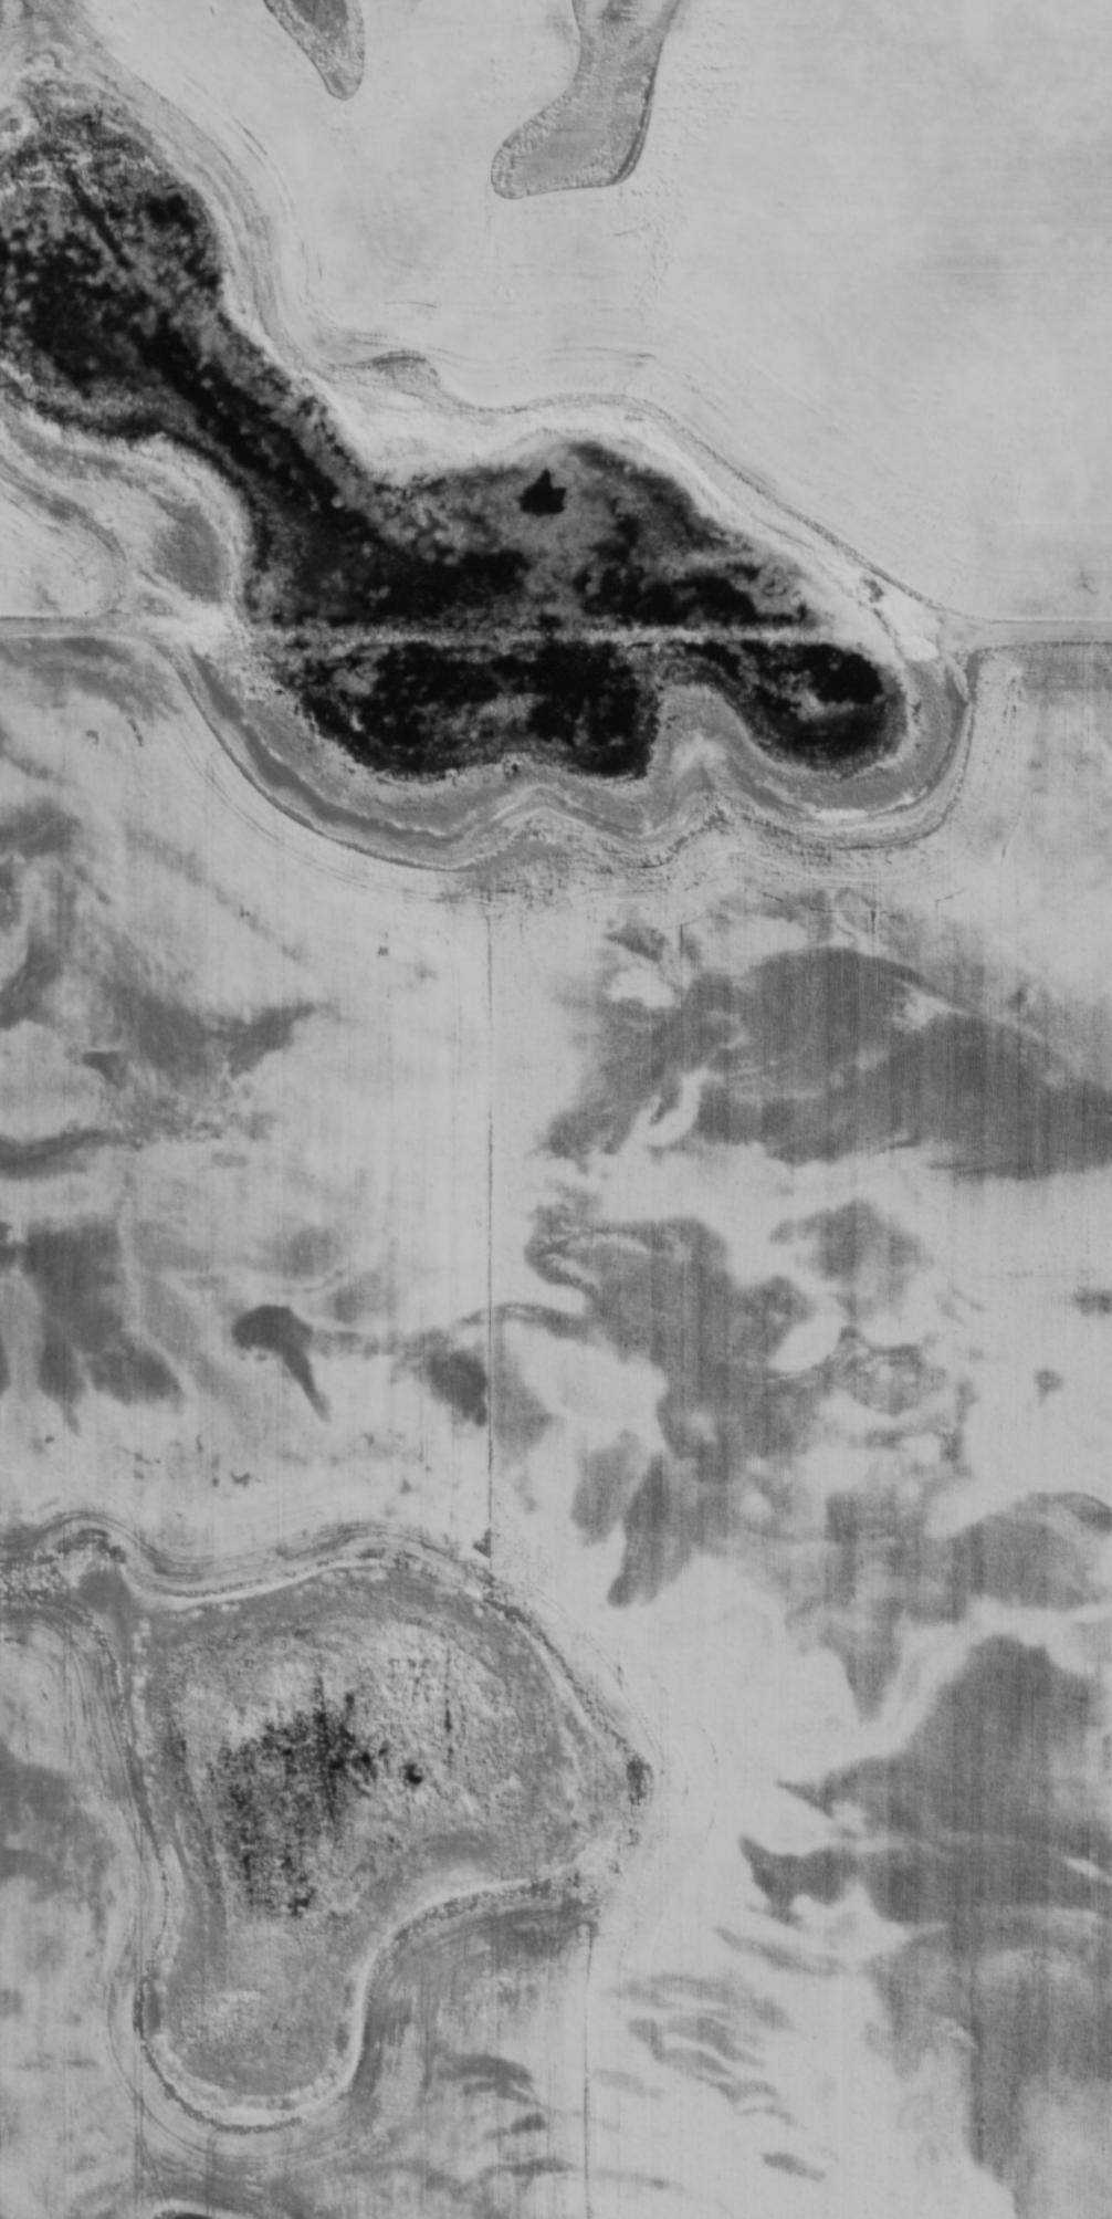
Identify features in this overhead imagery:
road: (578, 889)

